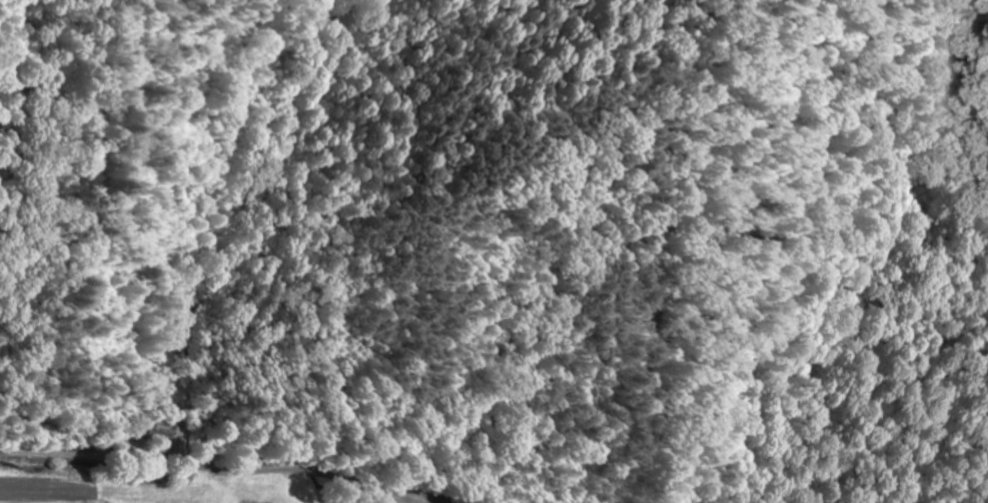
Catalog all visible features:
road: (41, 455)

